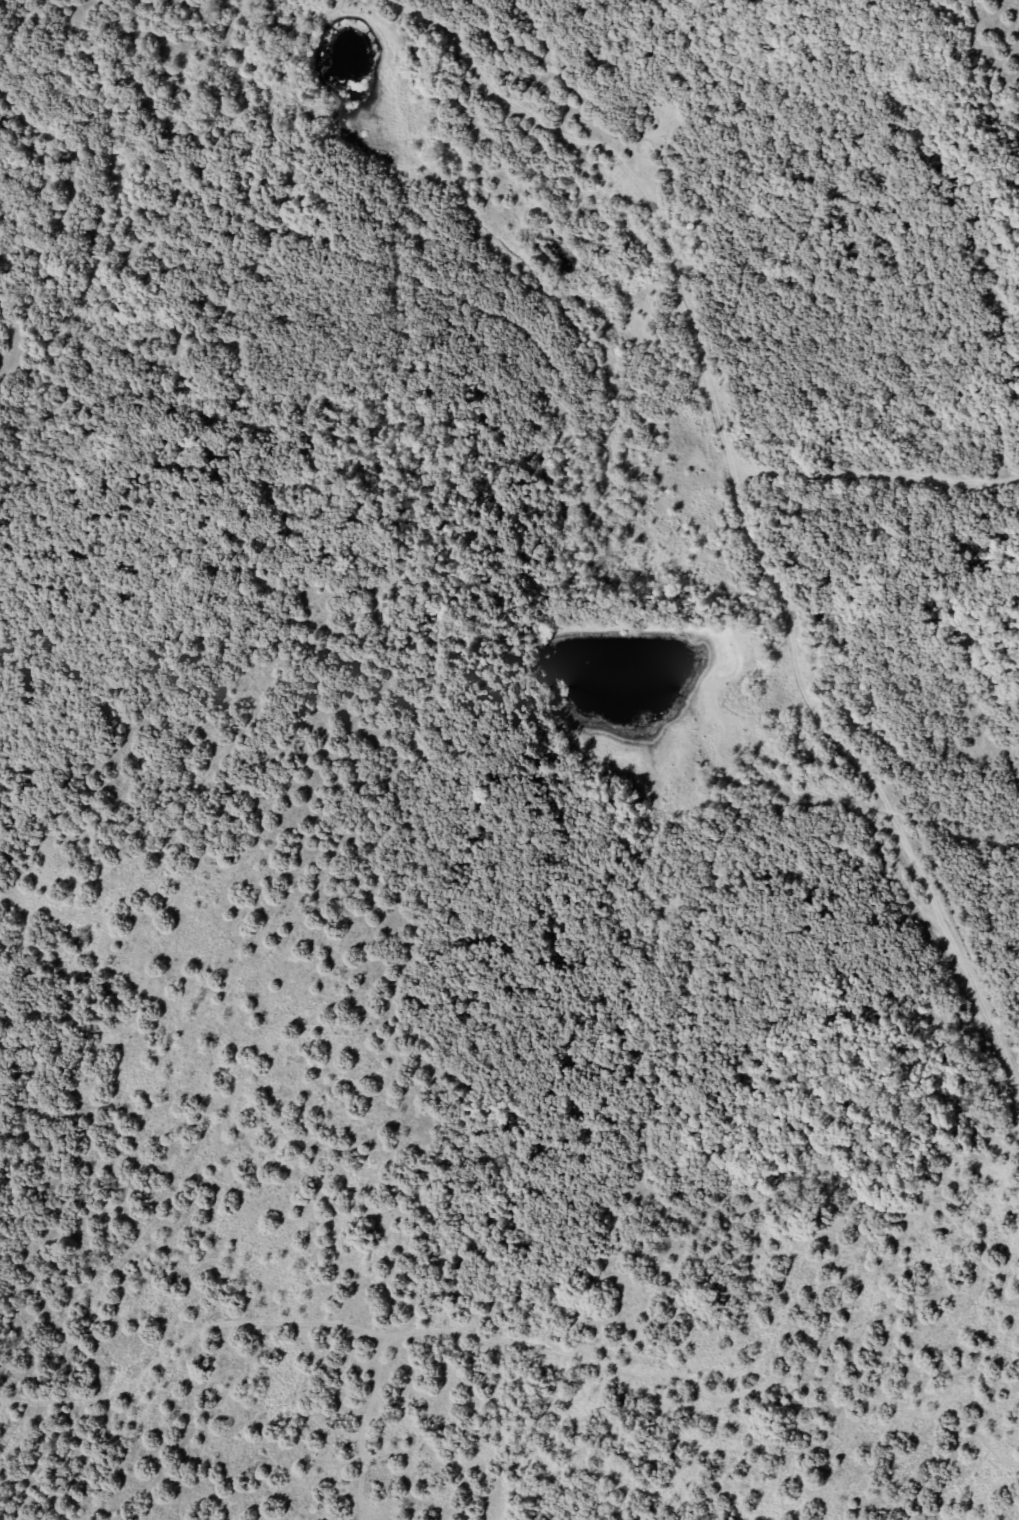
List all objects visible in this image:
road: (736, 467)
road: (507, 1378)

